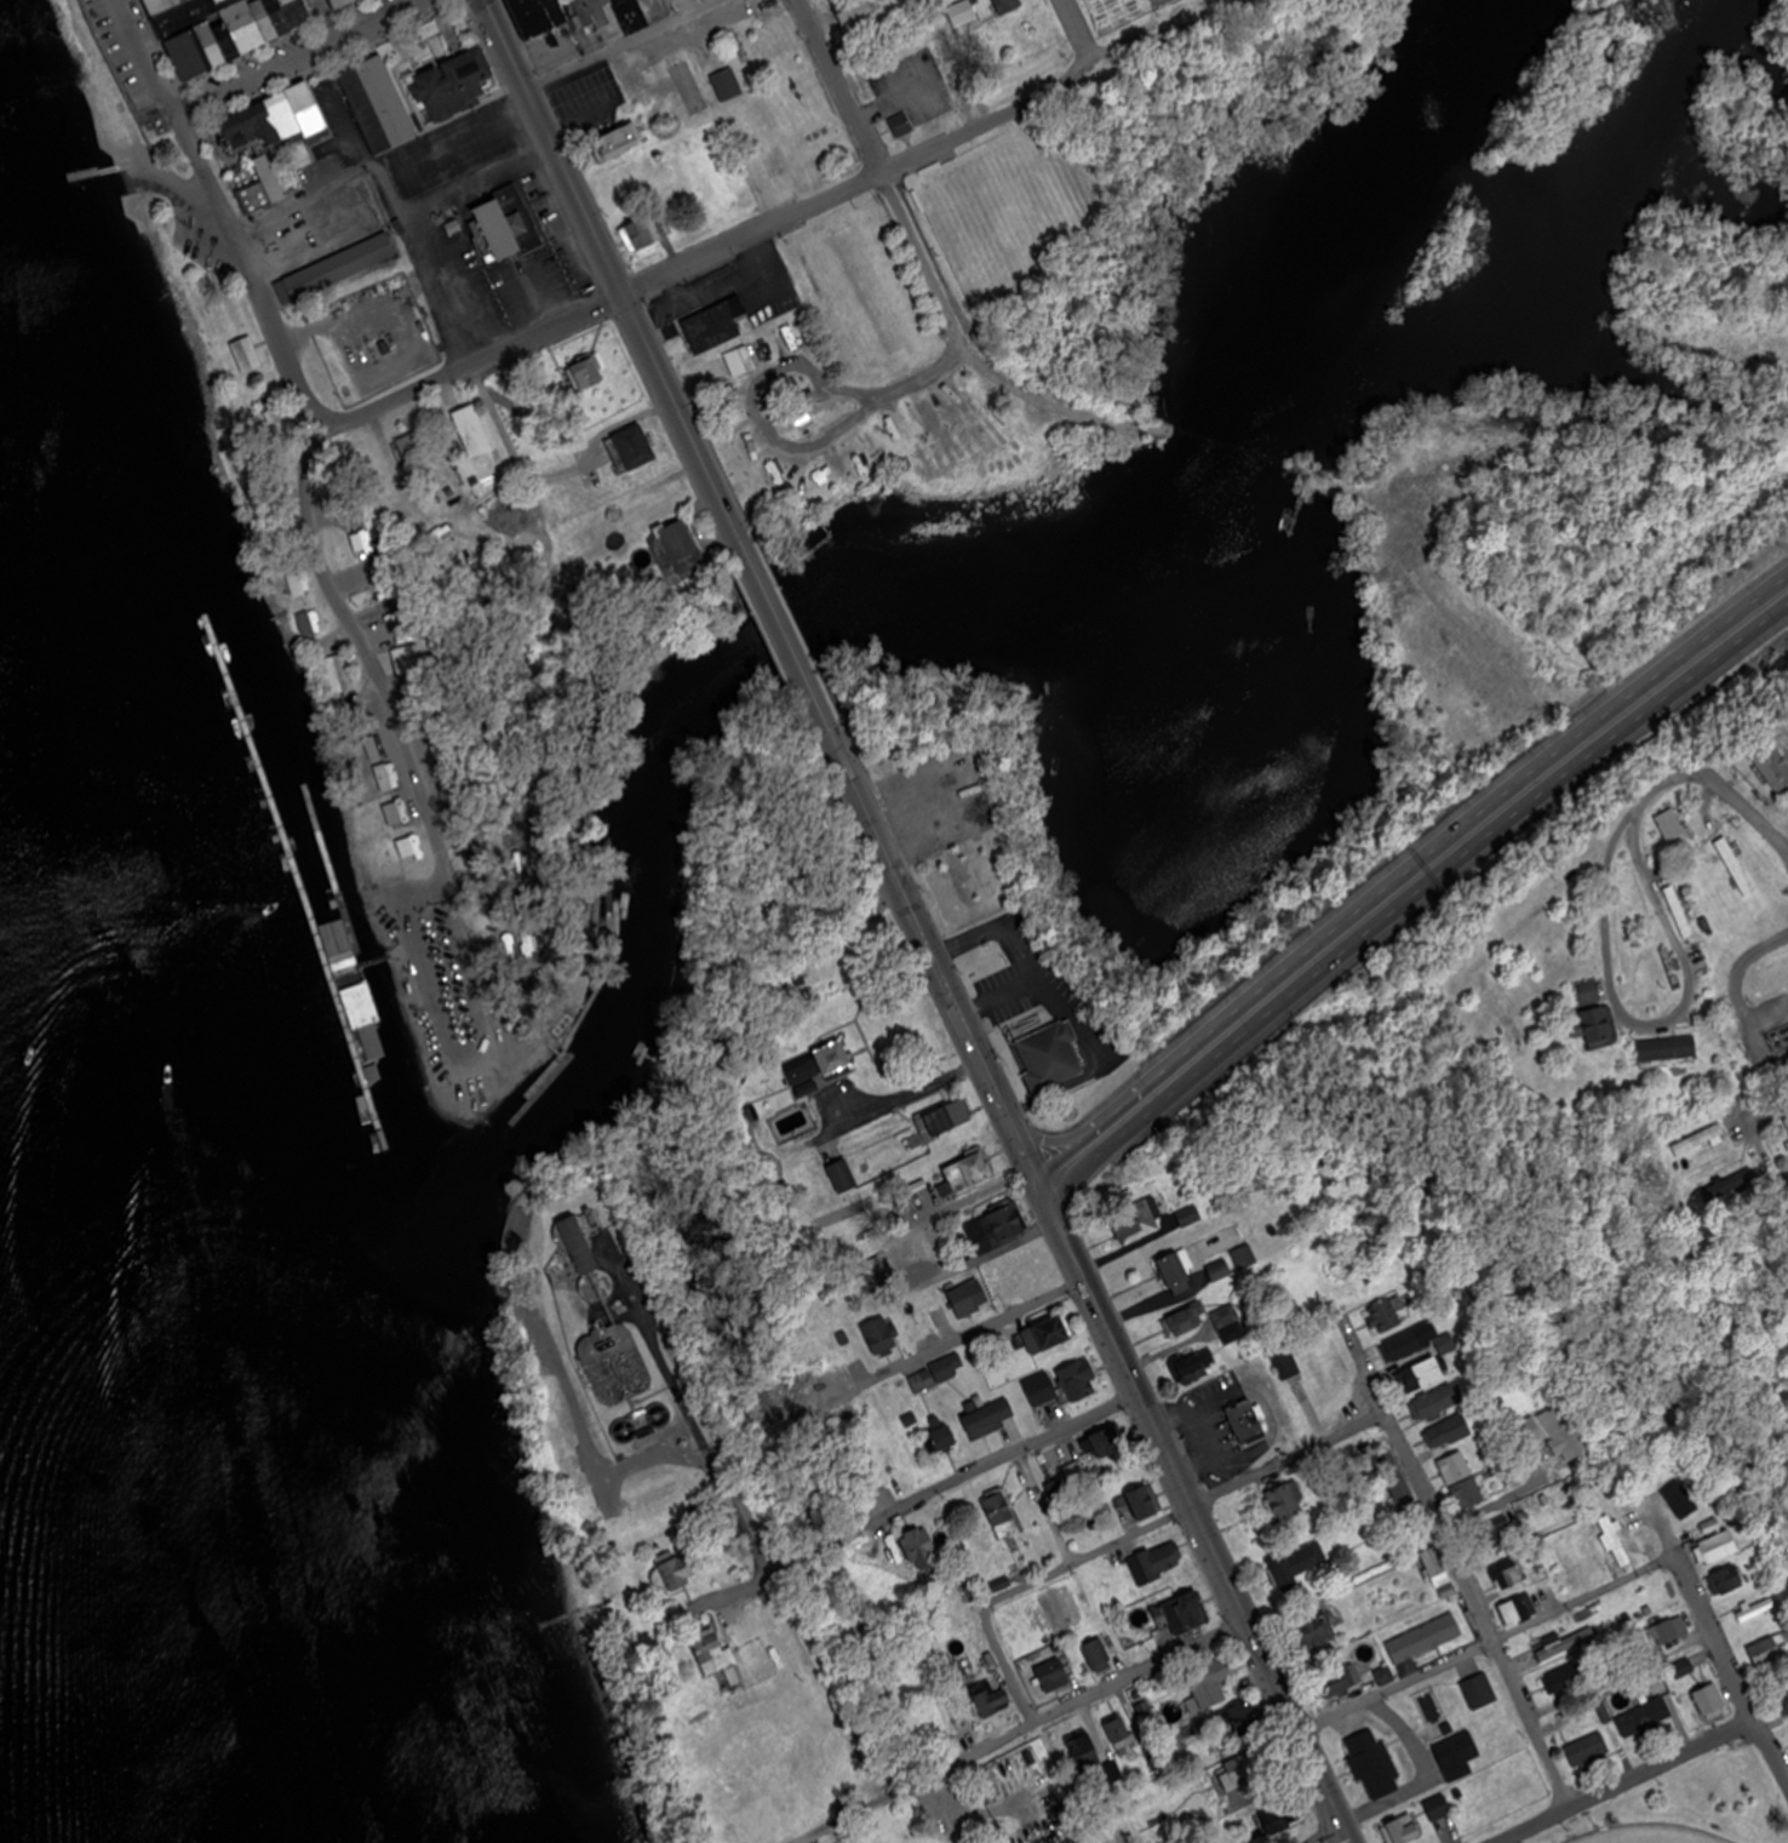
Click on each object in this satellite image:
building: (339, 2)
building: (1009, 5)
building: (161, 6)
building: (654, 6)
building: (602, 7)
building: (853, 11)
building: (578, 12)
building: (296, 13)
building: (963, 13)
building: (631, 15)
building: (184, 16)
building: (538, 16)
building: (276, 17)
road: (322, 19)
building: (262, 21)
building: (242, 29)
road: (1081, 34)
building: (223, 36)
building: (208, 44)
building: (187, 55)
road: (292, 57)
road: (139, 58)
parking lot: (122, 63)
building: (727, 84)
building: (452, 85)
building: (377, 104)
road: (343, 108)
building: (274, 119)
road: (475, 119)
building: (898, 120)
flagpole: (147, 128)
building: (618, 139)
pier: (101, 171)
road: (168, 179)
building: (260, 188)
road: (791, 216)
building: (509, 222)
building: (641, 235)
road: (913, 236)
road: (428, 263)
building: (333, 268)
road: (615, 269)
road: (247, 274)
park: (866, 288)
flagpole: (676, 321)
building: (712, 325)
park: (222, 332)
building: (247, 354)
building: (741, 362)
building: (589, 371)
road: (762, 376)
building: (726, 395)
building: (1179, 395)
building: (631, 446)
building: (422, 471)
building: (764, 471)
building: (362, 538)
building: (678, 551)
building: (309, 629)
road: (784, 637)
road: (366, 654)
building: (401, 660)
building: (337, 675)
road: (1597, 716)
building: (376, 751)
building: (1775, 765)
building: (386, 777)
road: (1720, 777)
building: (1673, 826)
building: (411, 846)
building: (1736, 866)
road: (899, 880)
road: (1415, 897)
building: (1680, 911)
building: (339, 960)
building: (1672, 969)
road: (1249, 996)
building: (355, 1006)
building: (1594, 1015)
road: (1656, 1024)
flagpole: (1004, 1029)
building: (1668, 1052)
building: (1048, 1058)
building: (820, 1069)
road: (993, 1081)
road: (906, 1095)
building: (947, 1118)
building: (1787, 1120)
road: (1055, 1138)
building: (1698, 1140)
road: (1030, 1154)
road: (1066, 1154)
building: (969, 1171)
building: (843, 1177)
road: (1045, 1186)
building: (1190, 1217)
building: (1136, 1218)
building: (997, 1227)
building: (583, 1254)
building: (1244, 1258)
building: (1028, 1265)
building: (1219, 1271)
building: (1175, 1275)
building: (871, 1276)
building: (964, 1301)
building: (1386, 1316)
road: (1013, 1317)
building: (1185, 1322)
building: (1231, 1324)
building: (1049, 1335)
building: (882, 1337)
building: (1403, 1346)
building: (621, 1356)
building: (1286, 1364)
building: (1197, 1367)
building: (1420, 1375)
building: (934, 1376)
building: (1081, 1379)
building: (1041, 1391)
building: (1438, 1403)
building: (658, 1420)
building: (1245, 1420)
building: (984, 1423)
building: (1449, 1432)
building: (1551, 1433)
building: (944, 1438)
building: (1111, 1443)
building: (1076, 1472)
road: (972, 1475)
building: (1396, 1478)
building: (1461, 1481)
building: (1145, 1501)
building: (1283, 1504)
building: (1679, 1506)
building: (999, 1509)
road: (1198, 1511)
building: (1497, 1533)
road: (1131, 1536)
building: (1616, 1542)
building: (1718, 1547)
building: (919, 1549)
road: (1454, 1549)
building: (1159, 1561)
building: (1297, 1566)
building: (1439, 1573)
building: (1508, 1574)
building: (675, 1575)
building: (1726, 1580)
building: (1519, 1609)
building: (1755, 1610)
building: (1182, 1614)
building: (1668, 1631)
building: (1310, 1632)
road: (1490, 1637)
building: (1425, 1638)
building: (1566, 1643)
building: (1767, 1650)
building: (1099, 1656)
building: (717, 1658)
road: (1732, 1666)
building: (1683, 1670)
building: (1054, 1676)
building: (1213, 1676)
building: (1568, 1679)
building: (1337, 1681)
building: (1660, 1683)
building: (1480, 1692)
building: (991, 1700)
building: (1710, 1701)
building: (1784, 1701)
building: (1433, 1713)
building: (1644, 1717)
building: (1244, 1721)
road: (1026, 1727)
building: (1122, 1736)
building: (1588, 1751)
building: (1456, 1752)
building: (1084, 1755)
building: (1374, 1763)
building: (1240, 1773)
road: (1432, 1774)
building: (1025, 1776)
road: (1628, 1780)
building: (1439, 1809)
building: (1284, 1818)
building: (1404, 1830)
road: (1330, 1833)
road: (1352, 1833)
park: (1656, 1835)

